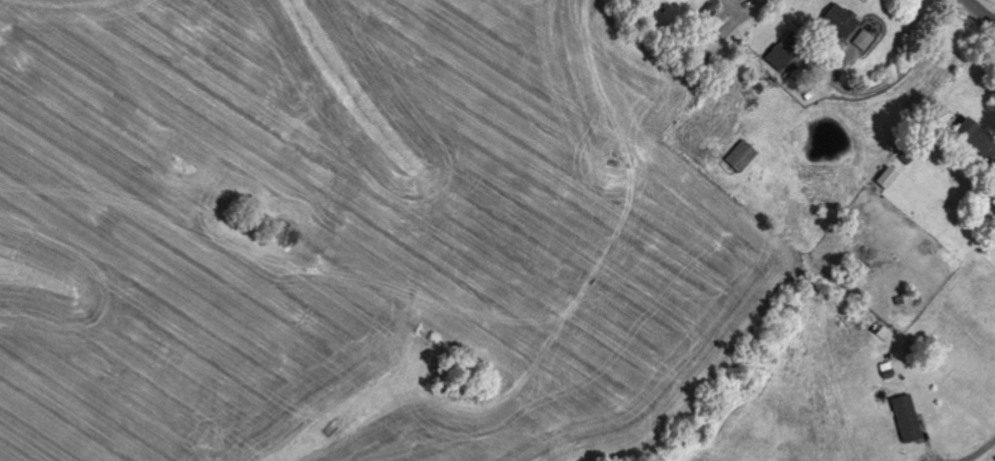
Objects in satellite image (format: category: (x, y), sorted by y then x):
road: (745, 10)
road: (981, 11)
building: (842, 22)
building: (864, 41)
building: (785, 51)
building: (743, 157)
building: (891, 178)
building: (909, 419)
road: (982, 453)

